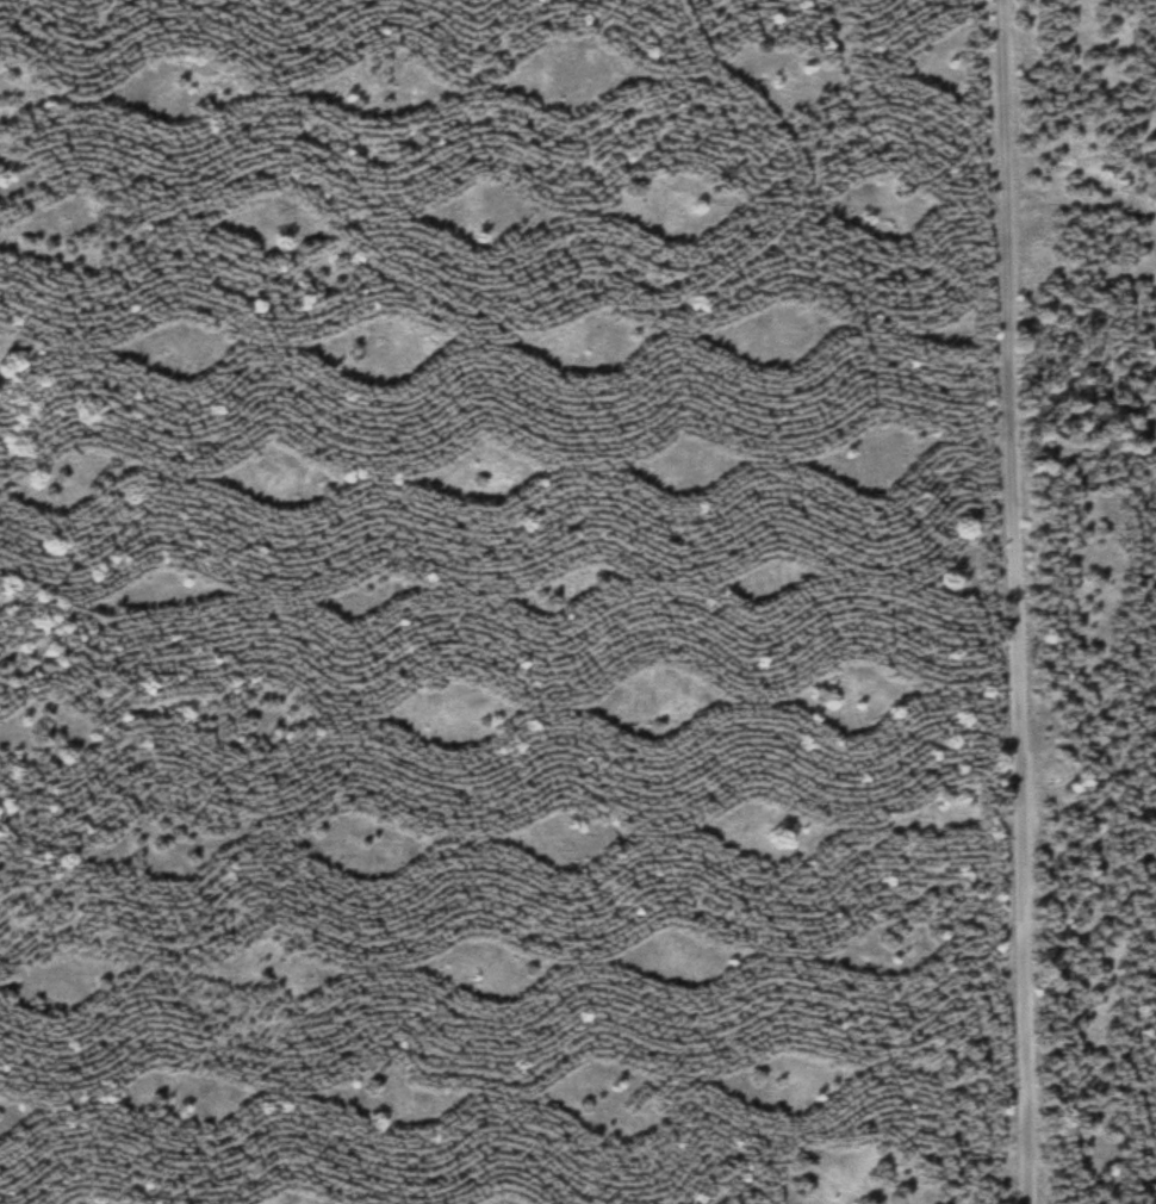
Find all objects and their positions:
road: (1023, 601)
park: (883, 1172)

